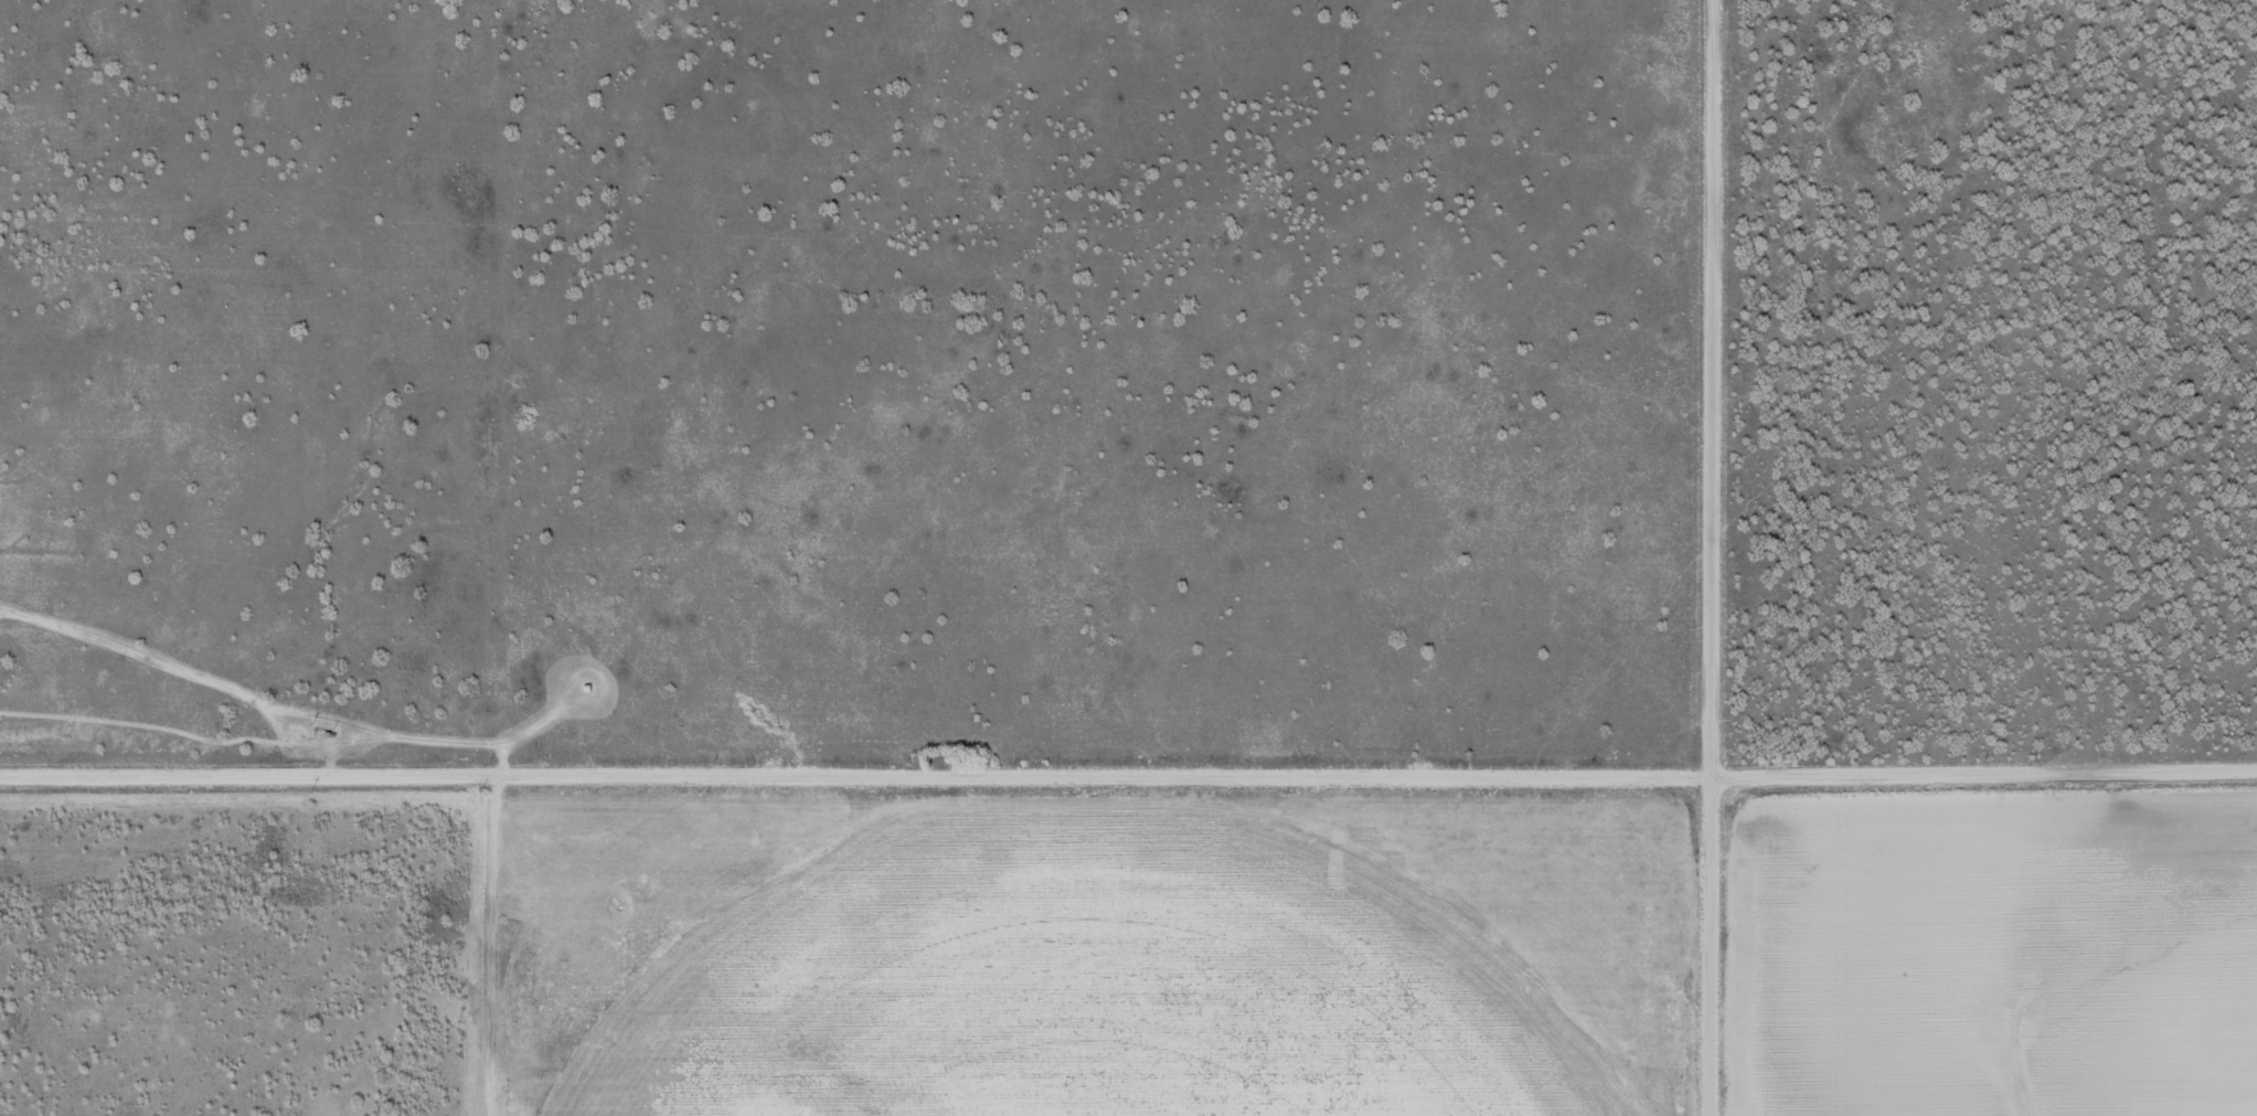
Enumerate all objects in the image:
road: (1713, 557)
road: (1128, 778)

